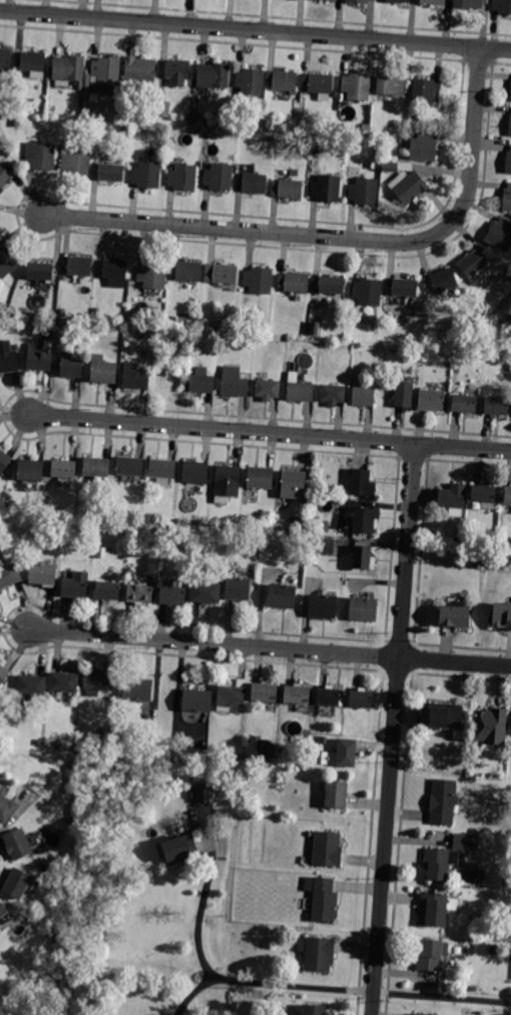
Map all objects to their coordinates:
building: (332, 0)
building: (337, 0)
building: (373, 0)
building: (359, 1)
building: (398, 1)
building: (434, 2)
building: (469, 4)
building: (502, 6)
road: (255, 30)
building: (5, 62)
building: (34, 64)
building: (140, 69)
building: (71, 70)
building: (177, 71)
building: (107, 74)
building: (213, 75)
building: (285, 80)
building: (251, 81)
building: (321, 83)
building: (357, 86)
building: (391, 86)
building: (426, 91)
building: (28, 103)
building: (163, 109)
building: (17, 122)
building: (268, 123)
building: (510, 126)
building: (125, 129)
building: (424, 147)
building: (41, 156)
building: (231, 157)
building: (76, 160)
building: (508, 162)
building: (391, 167)
building: (112, 170)
building: (295, 173)
building: (147, 175)
building: (4, 176)
building: (183, 177)
building: (219, 177)
building: (255, 183)
building: (327, 188)
building: (410, 188)
building: (287, 189)
building: (364, 191)
building: (507, 198)
building: (501, 234)
road: (338, 238)
building: (7, 262)
building: (472, 263)
building: (80, 266)
building: (40, 271)
building: (188, 271)
building: (116, 272)
building: (221, 273)
building: (153, 275)
building: (259, 280)
building: (441, 280)
building: (294, 282)
building: (328, 284)
building: (404, 287)
building: (368, 292)
building: (97, 312)
building: (54, 313)
building: (62, 313)
building: (54, 323)
building: (218, 326)
building: (87, 342)
building: (8, 358)
building: (39, 358)
building: (70, 366)
building: (103, 370)
building: (135, 376)
building: (202, 382)
building: (234, 382)
building: (268, 389)
building: (300, 391)
building: (333, 394)
building: (404, 394)
building: (363, 396)
building: (431, 400)
building: (464, 403)
building: (496, 406)
road: (270, 433)
building: (4, 461)
building: (97, 467)
building: (129, 467)
building: (63, 469)
building: (31, 470)
building: (162, 471)
building: (195, 472)
building: (260, 477)
building: (227, 483)
building: (362, 483)
building: (293, 484)
building: (484, 495)
building: (507, 495)
building: (453, 499)
building: (364, 520)
building: (296, 522)
building: (145, 532)
building: (326, 546)
building: (298, 553)
building: (362, 557)
building: (42, 574)
building: (9, 576)
building: (76, 585)
building: (238, 589)
building: (107, 590)
building: (140, 593)
building: (206, 593)
building: (172, 595)
building: (282, 596)
building: (323, 606)
building: (363, 609)
building: (503, 615)
building: (454, 616)
road: (215, 644)
road: (455, 661)
building: (3, 674)
building: (97, 680)
building: (64, 682)
building: (31, 686)
building: (137, 689)
building: (265, 692)
building: (297, 695)
building: (230, 697)
building: (328, 697)
building: (361, 699)
building: (197, 700)
building: (446, 716)
building: (491, 726)
road: (394, 729)
building: (324, 741)
building: (39, 742)
building: (58, 744)
building: (346, 753)
building: (75, 764)
building: (205, 793)
building: (227, 793)
building: (336, 795)
building: (443, 802)
building: (7, 809)
road: (16, 813)
building: (464, 842)
building: (18, 844)
building: (180, 849)
building: (327, 849)
building: (437, 864)
building: (17, 884)
building: (322, 899)
building: (3, 910)
building: (434, 910)
road: (200, 911)
building: (21, 931)
building: (317, 953)
building: (431, 955)
road: (362, 989)
road: (193, 993)
building: (315, 1009)
building: (417, 1014)

